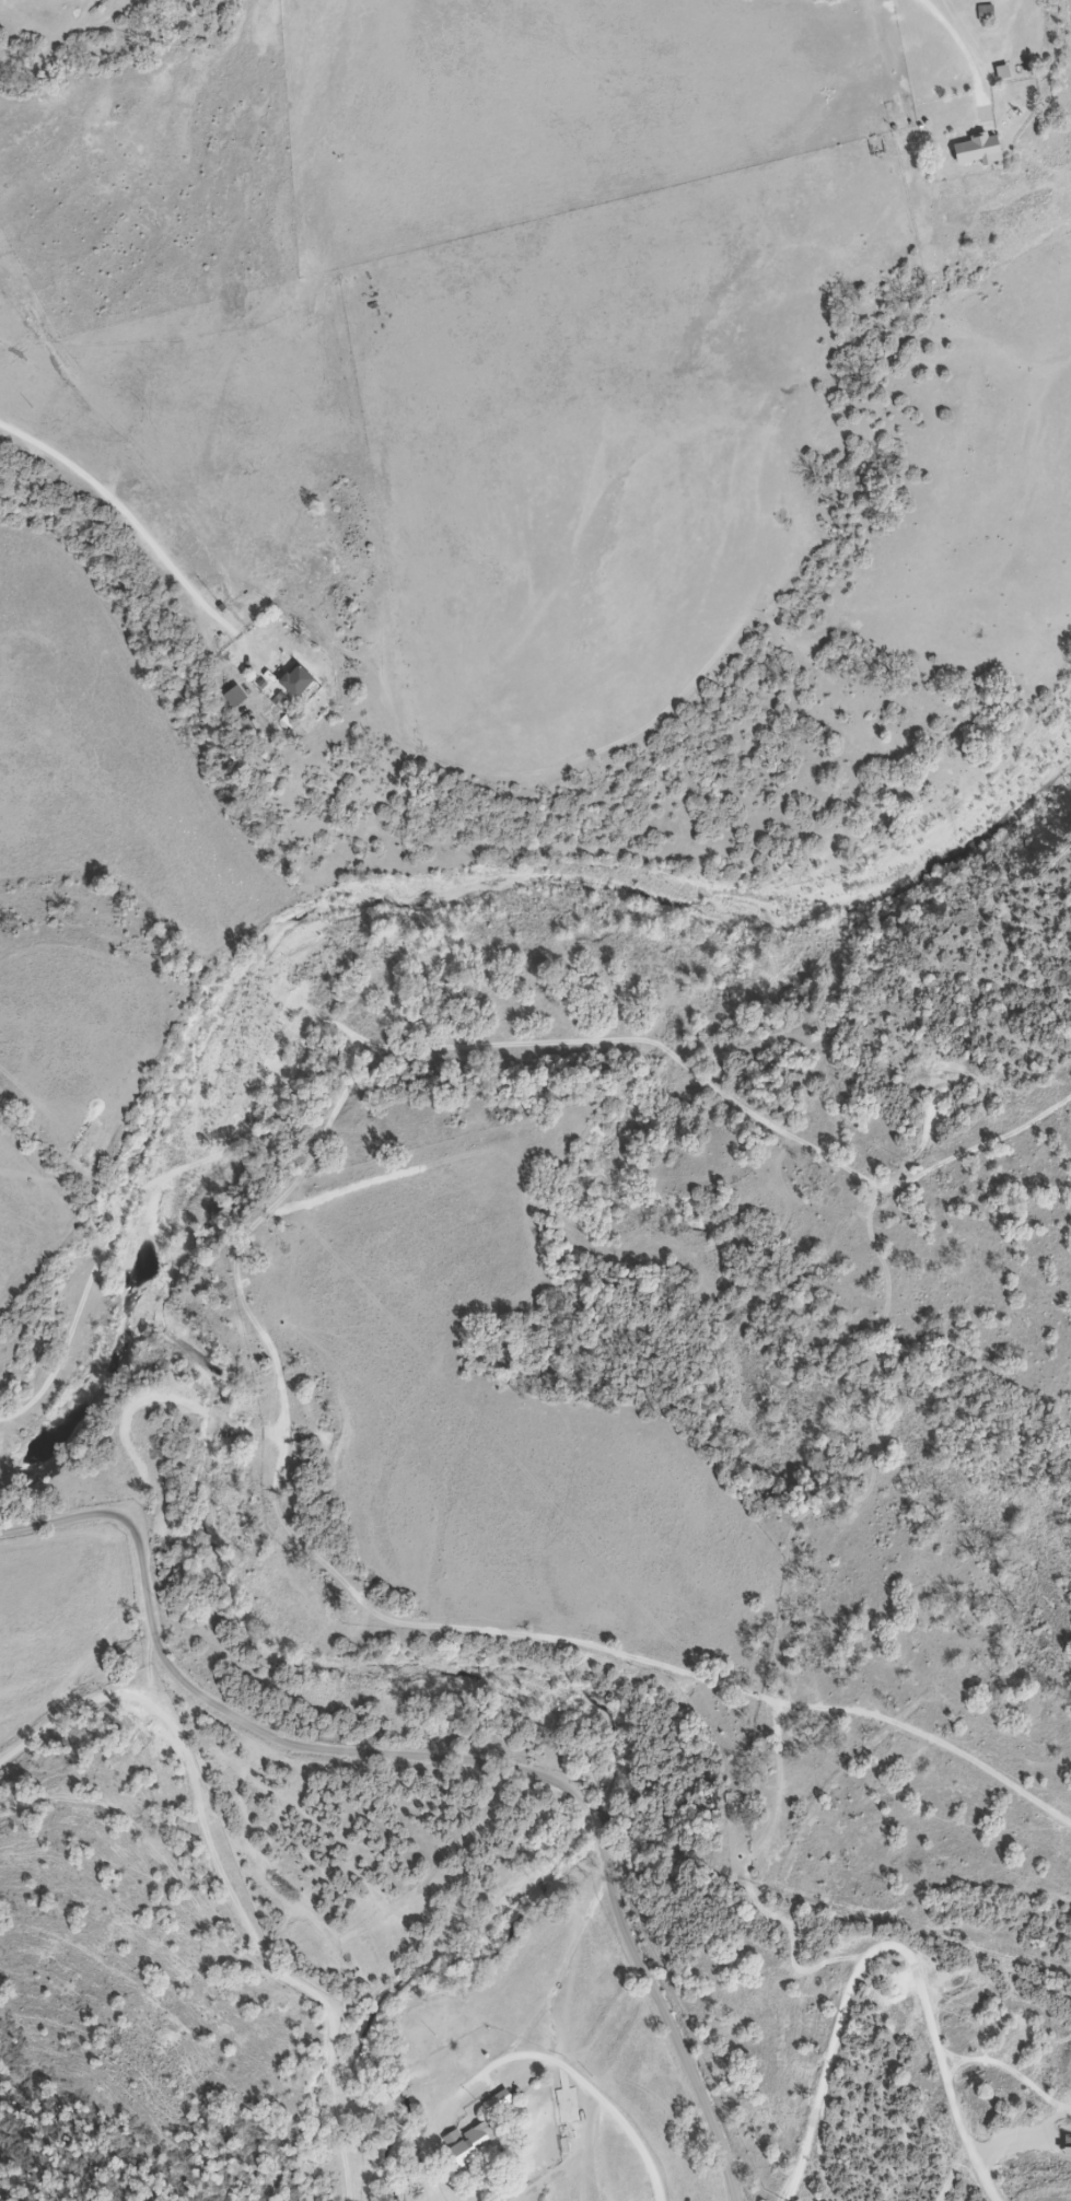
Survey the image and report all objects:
building: (986, 13)
road: (955, 42)
building: (1016, 115)
building: (973, 151)
building: (296, 683)
road: (242, 1724)
road: (593, 1831)
road: (885, 1943)
road: (666, 2023)
road: (966, 2056)
road: (521, 2057)
road: (1022, 2074)
building: (498, 2103)
road: (632, 2128)
road: (1025, 2138)
building: (470, 2144)

